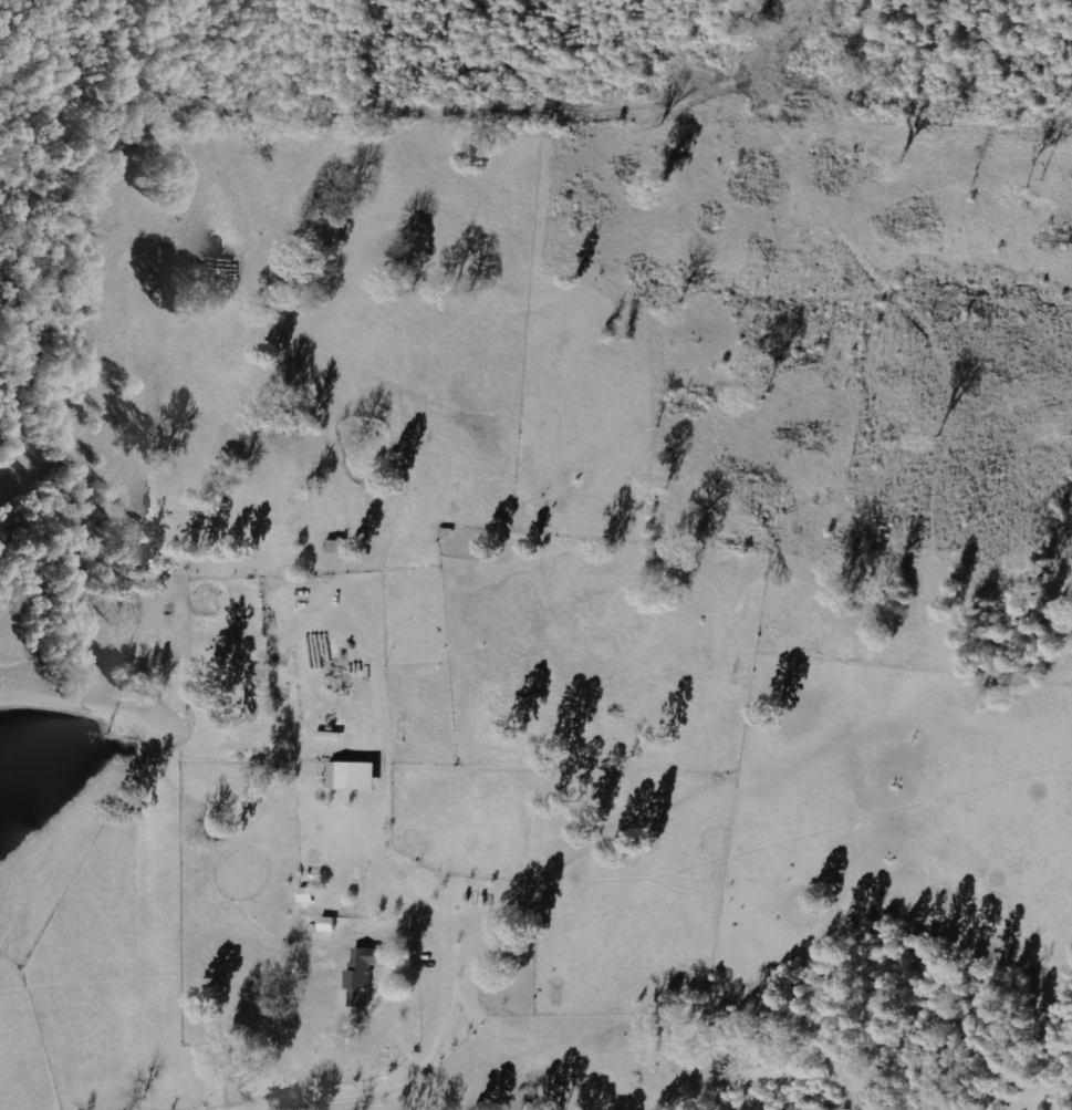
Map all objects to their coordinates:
building: (334, 546)
road: (118, 641)
building: (350, 776)
building: (304, 894)
building: (325, 924)
building: (361, 976)

